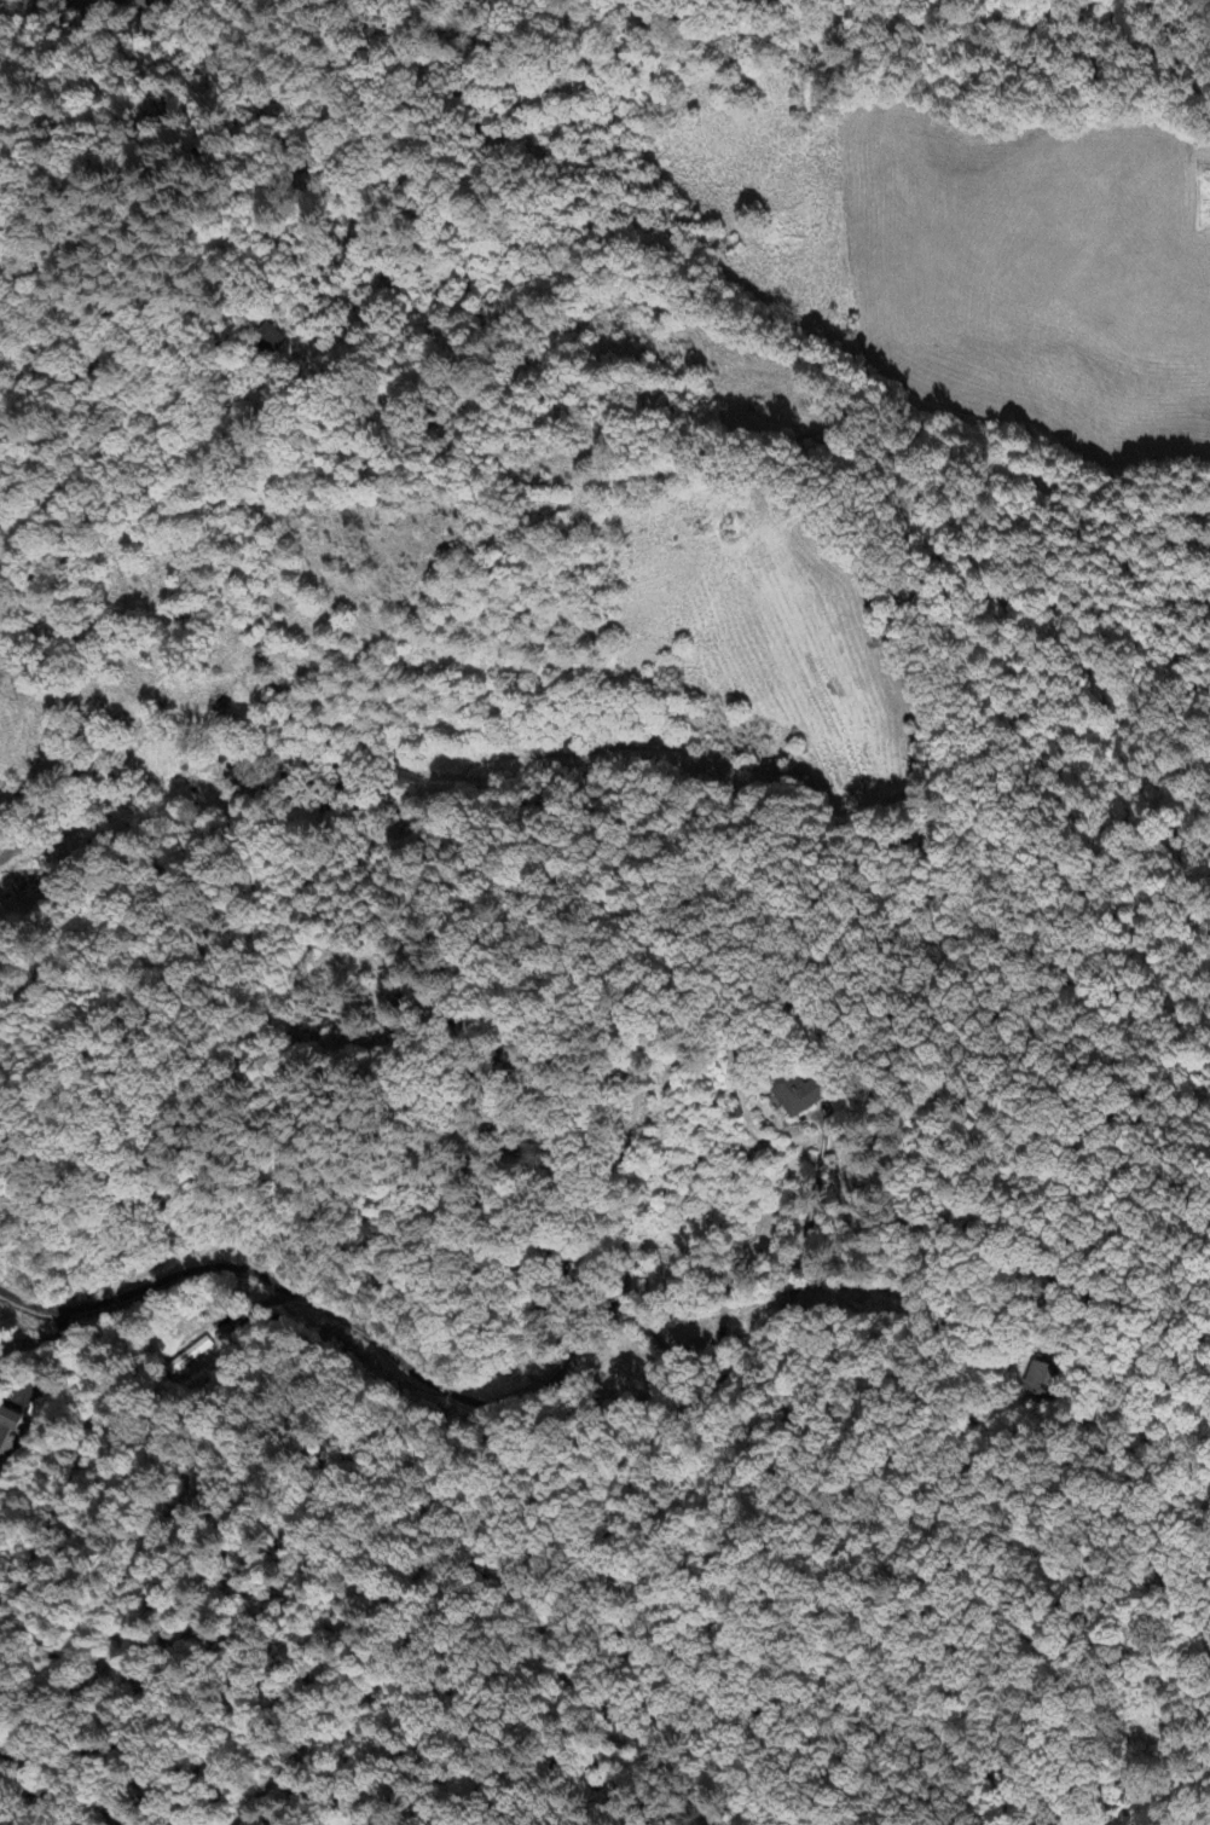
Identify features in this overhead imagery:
building: (268, 340)
building: (799, 1094)
building: (190, 1356)
building: (1044, 1378)
road: (477, 1394)
building: (10, 1431)
road: (1079, 1618)

